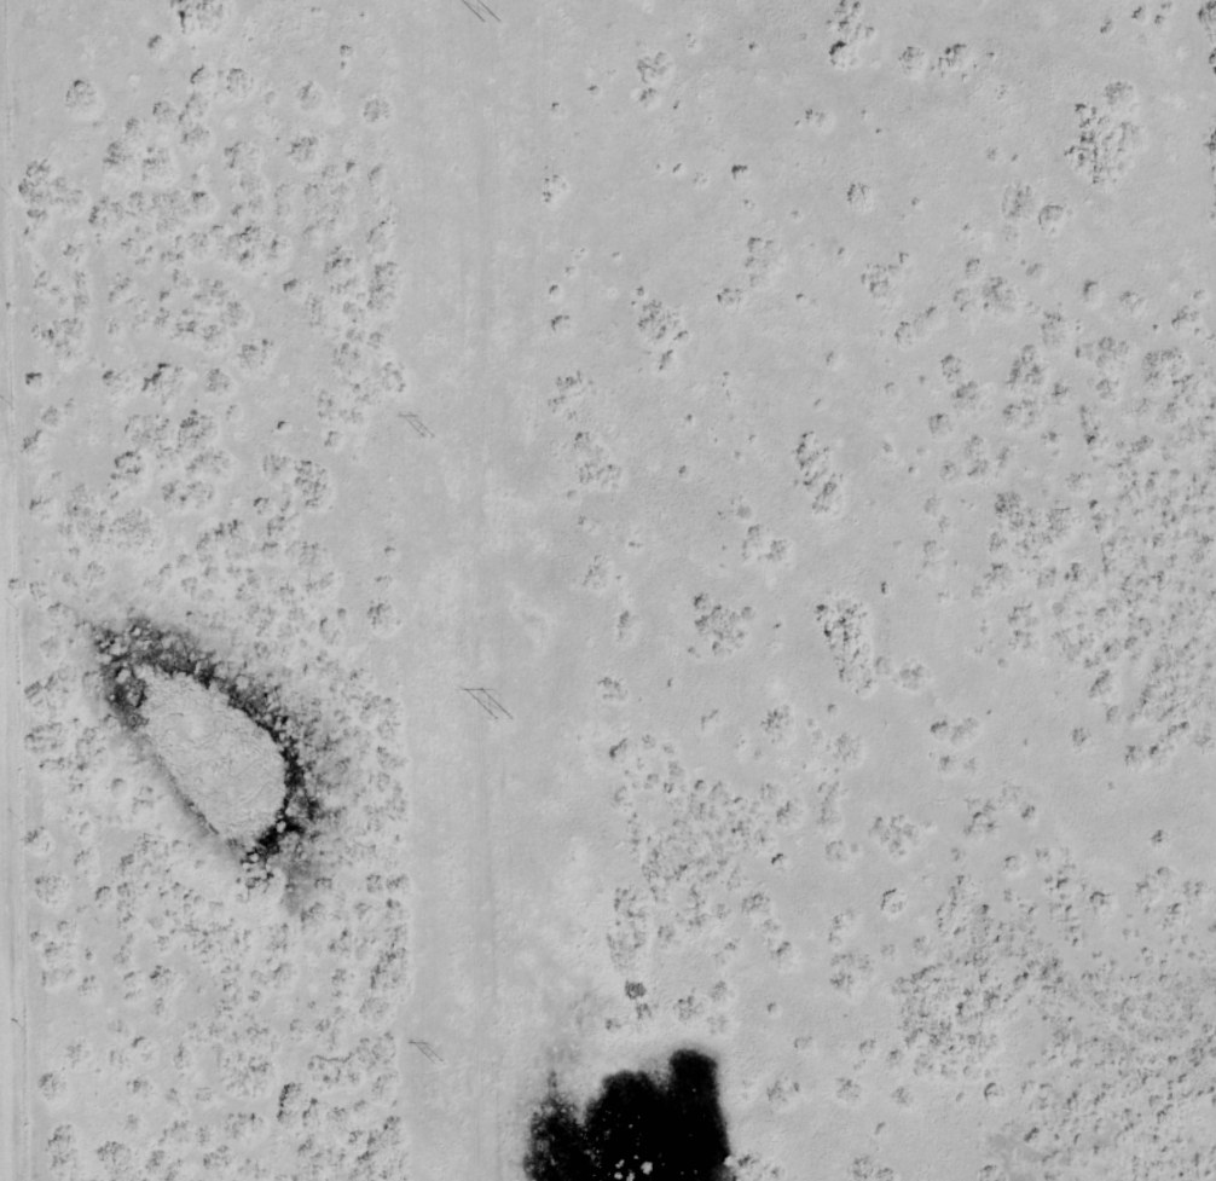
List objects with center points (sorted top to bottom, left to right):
power tower: (488, 24)
power tower: (429, 438)
power tower: (500, 722)
power tower: (439, 1064)

